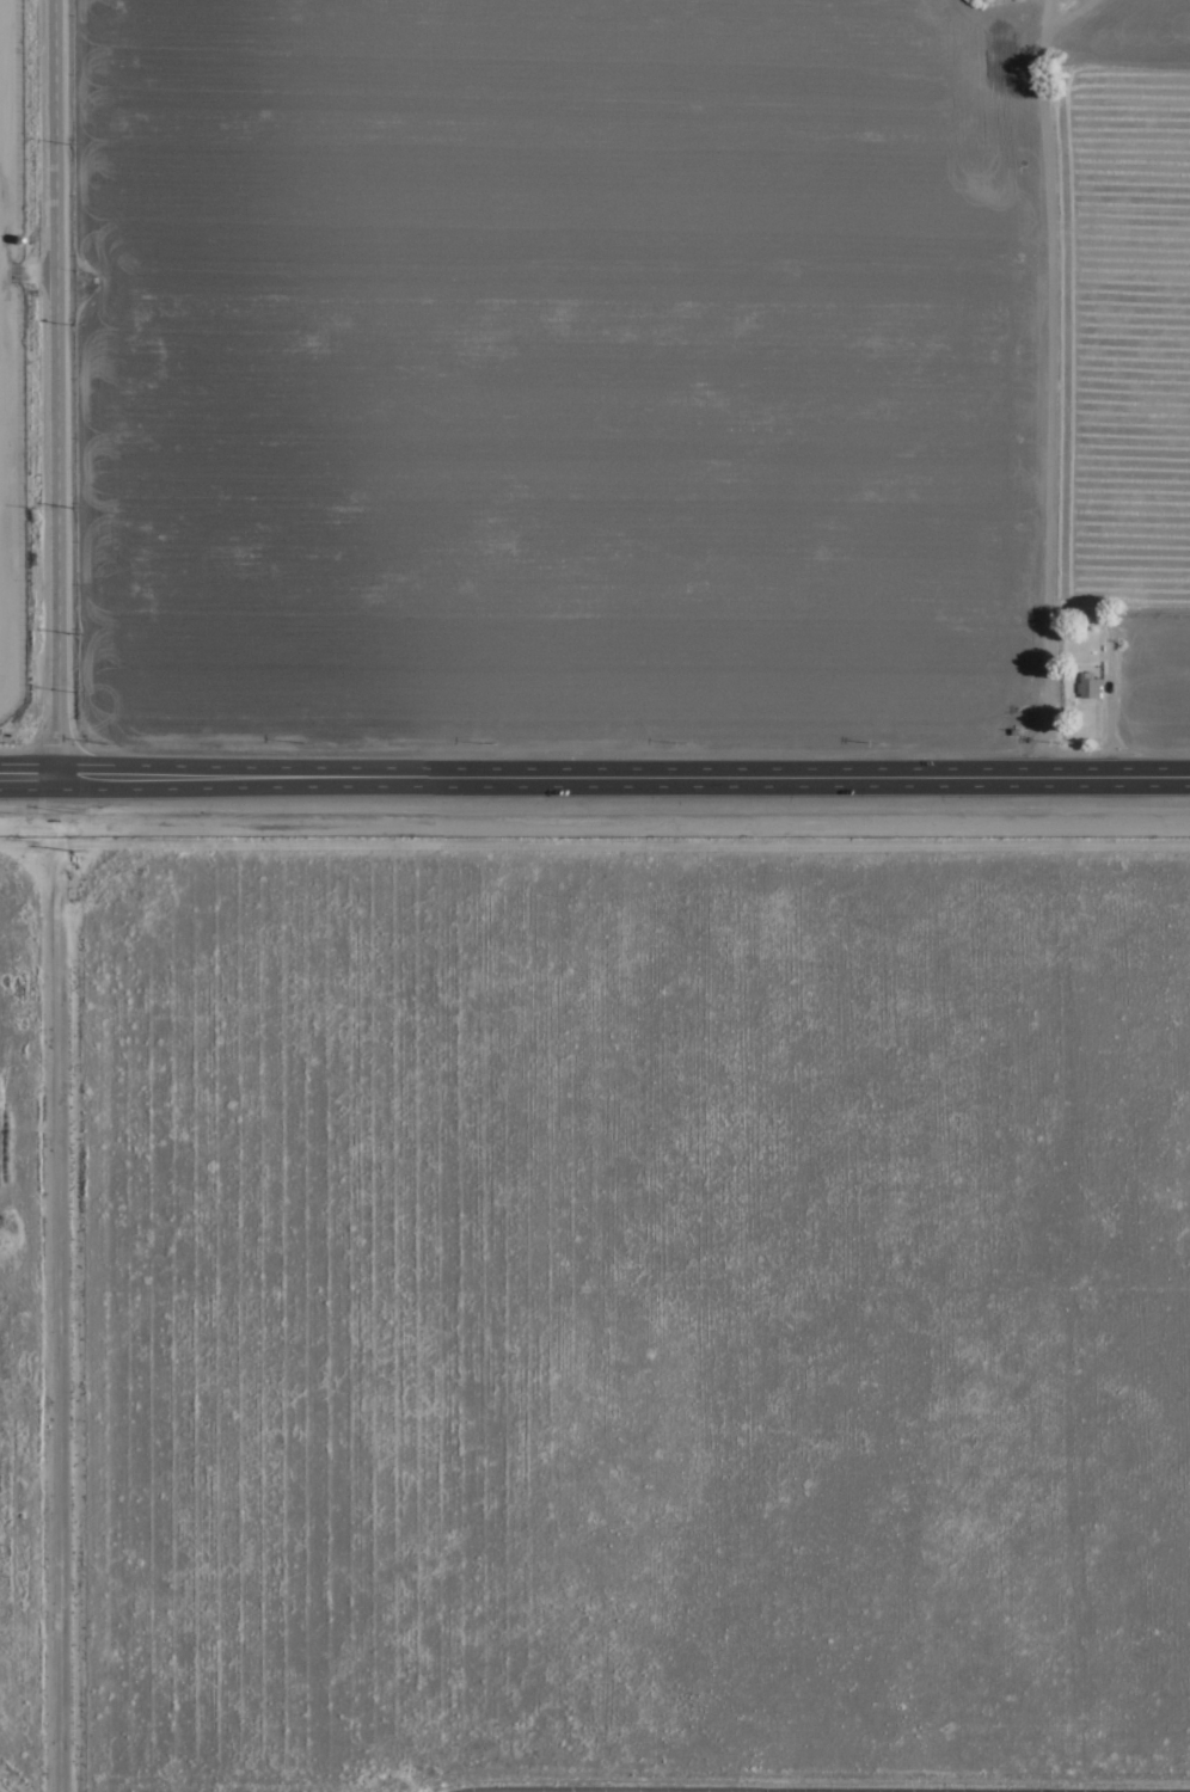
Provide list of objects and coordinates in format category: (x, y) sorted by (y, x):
solar farm: (11, 363)
road: (36, 389)
crop: (587, 389)
road: (1048, 393)
building: (1090, 687)
road: (595, 783)

